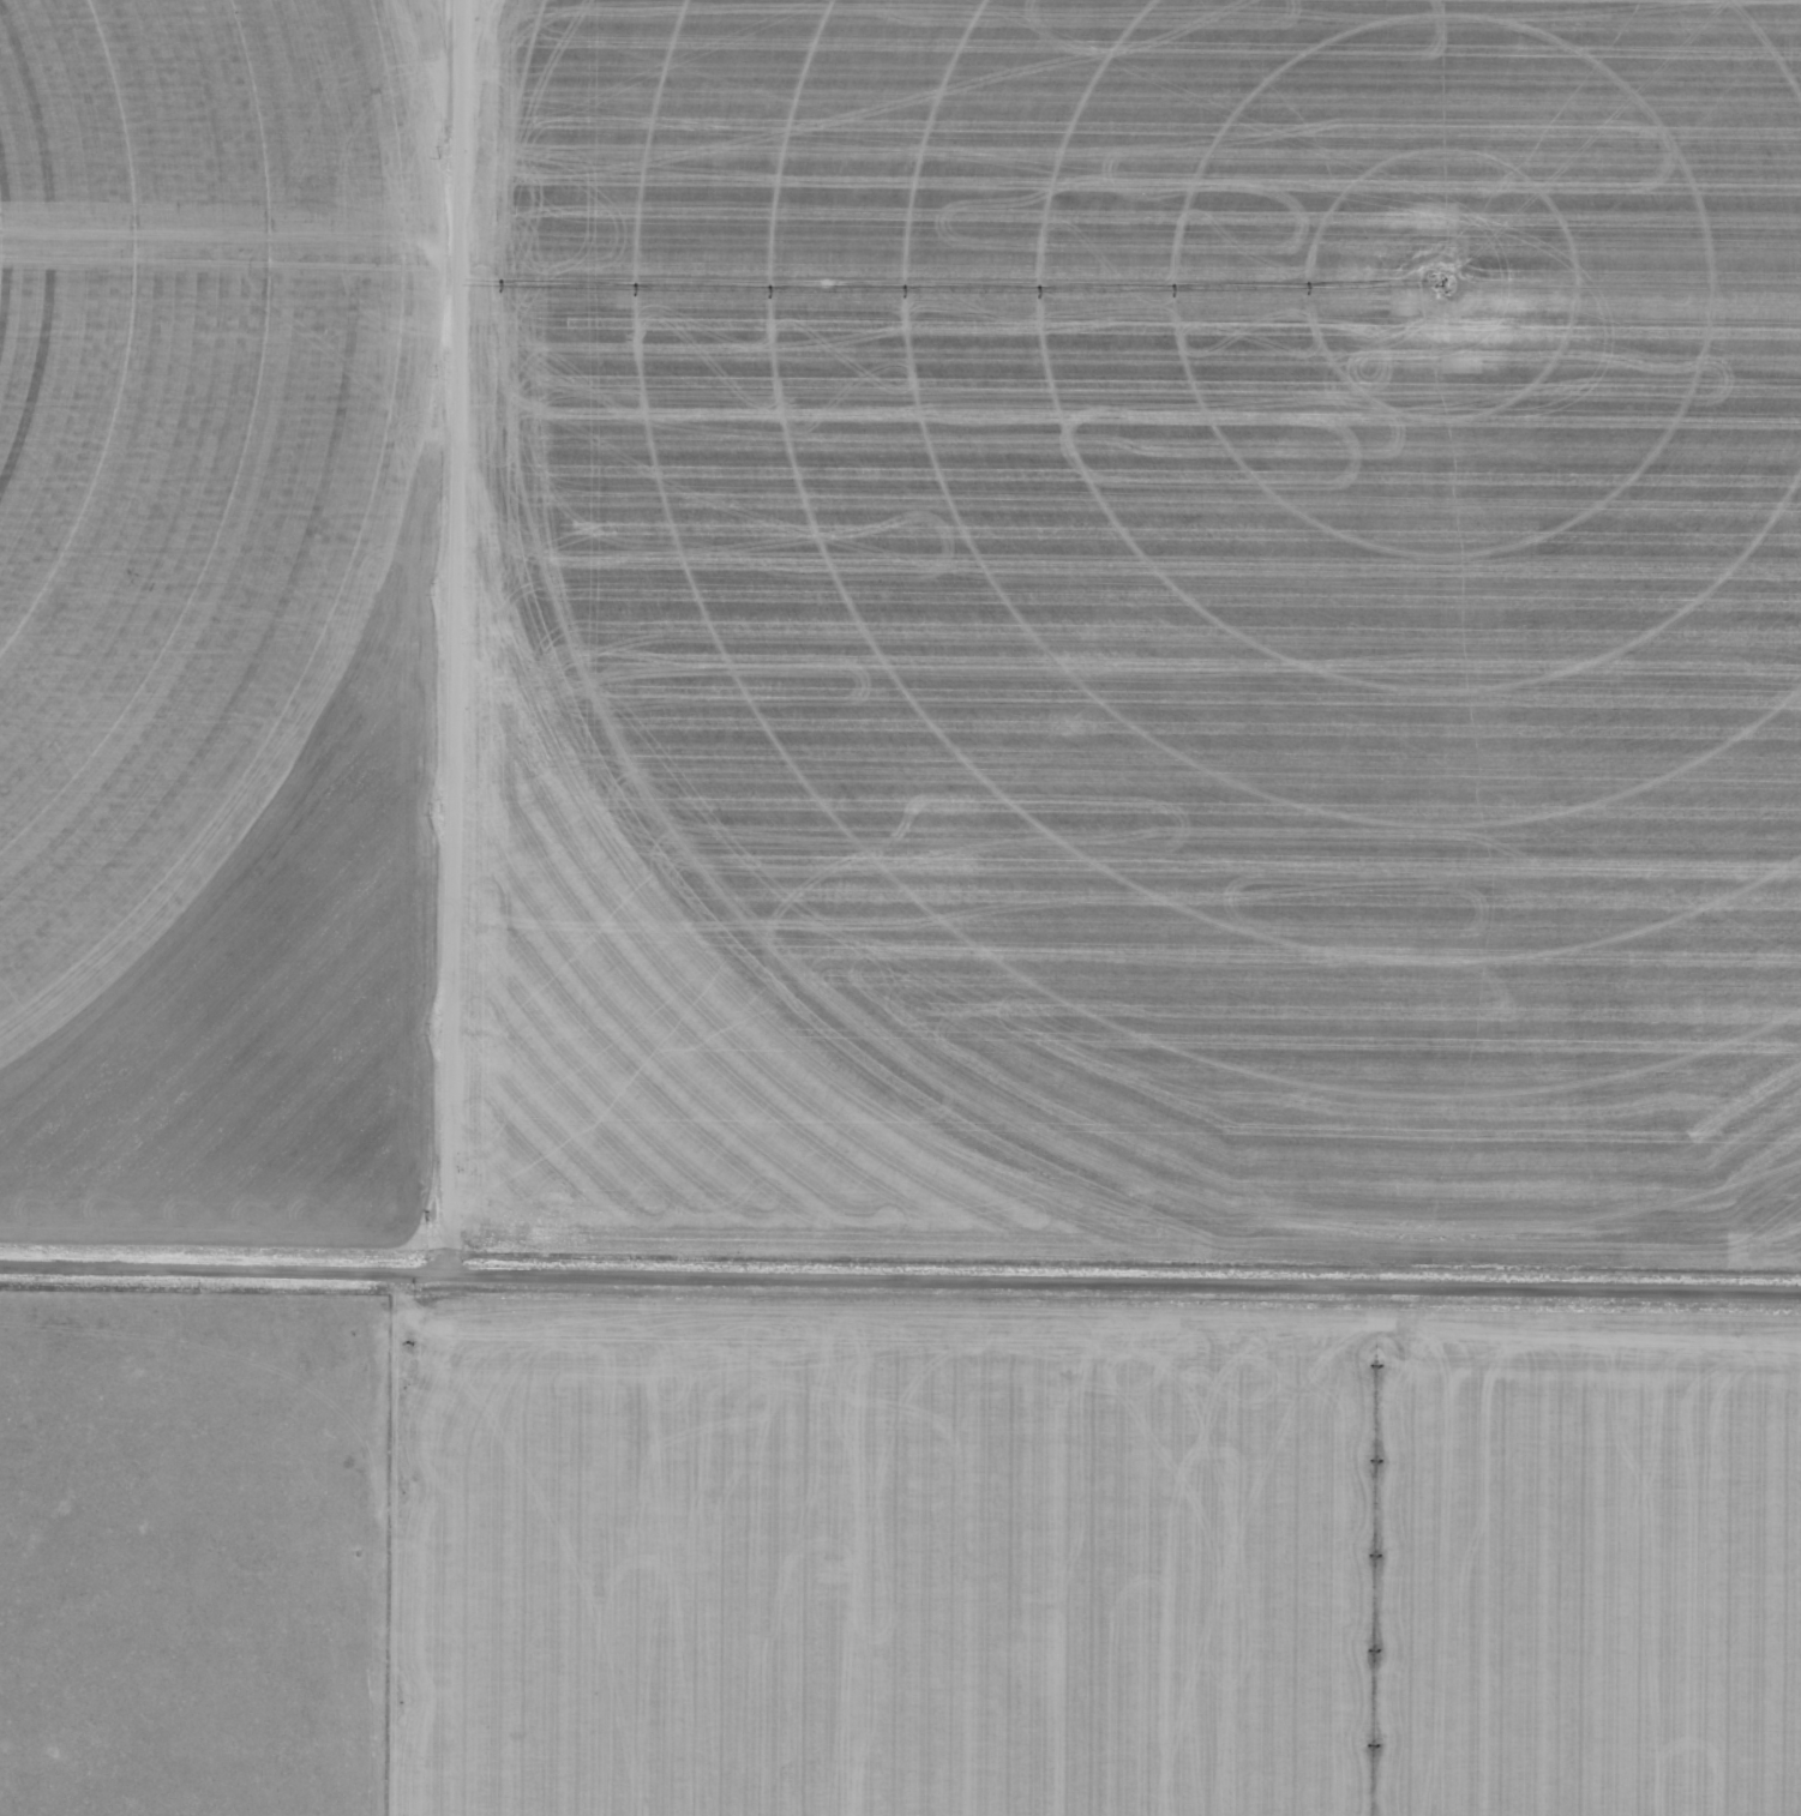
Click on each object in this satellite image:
road: (900, 1274)

